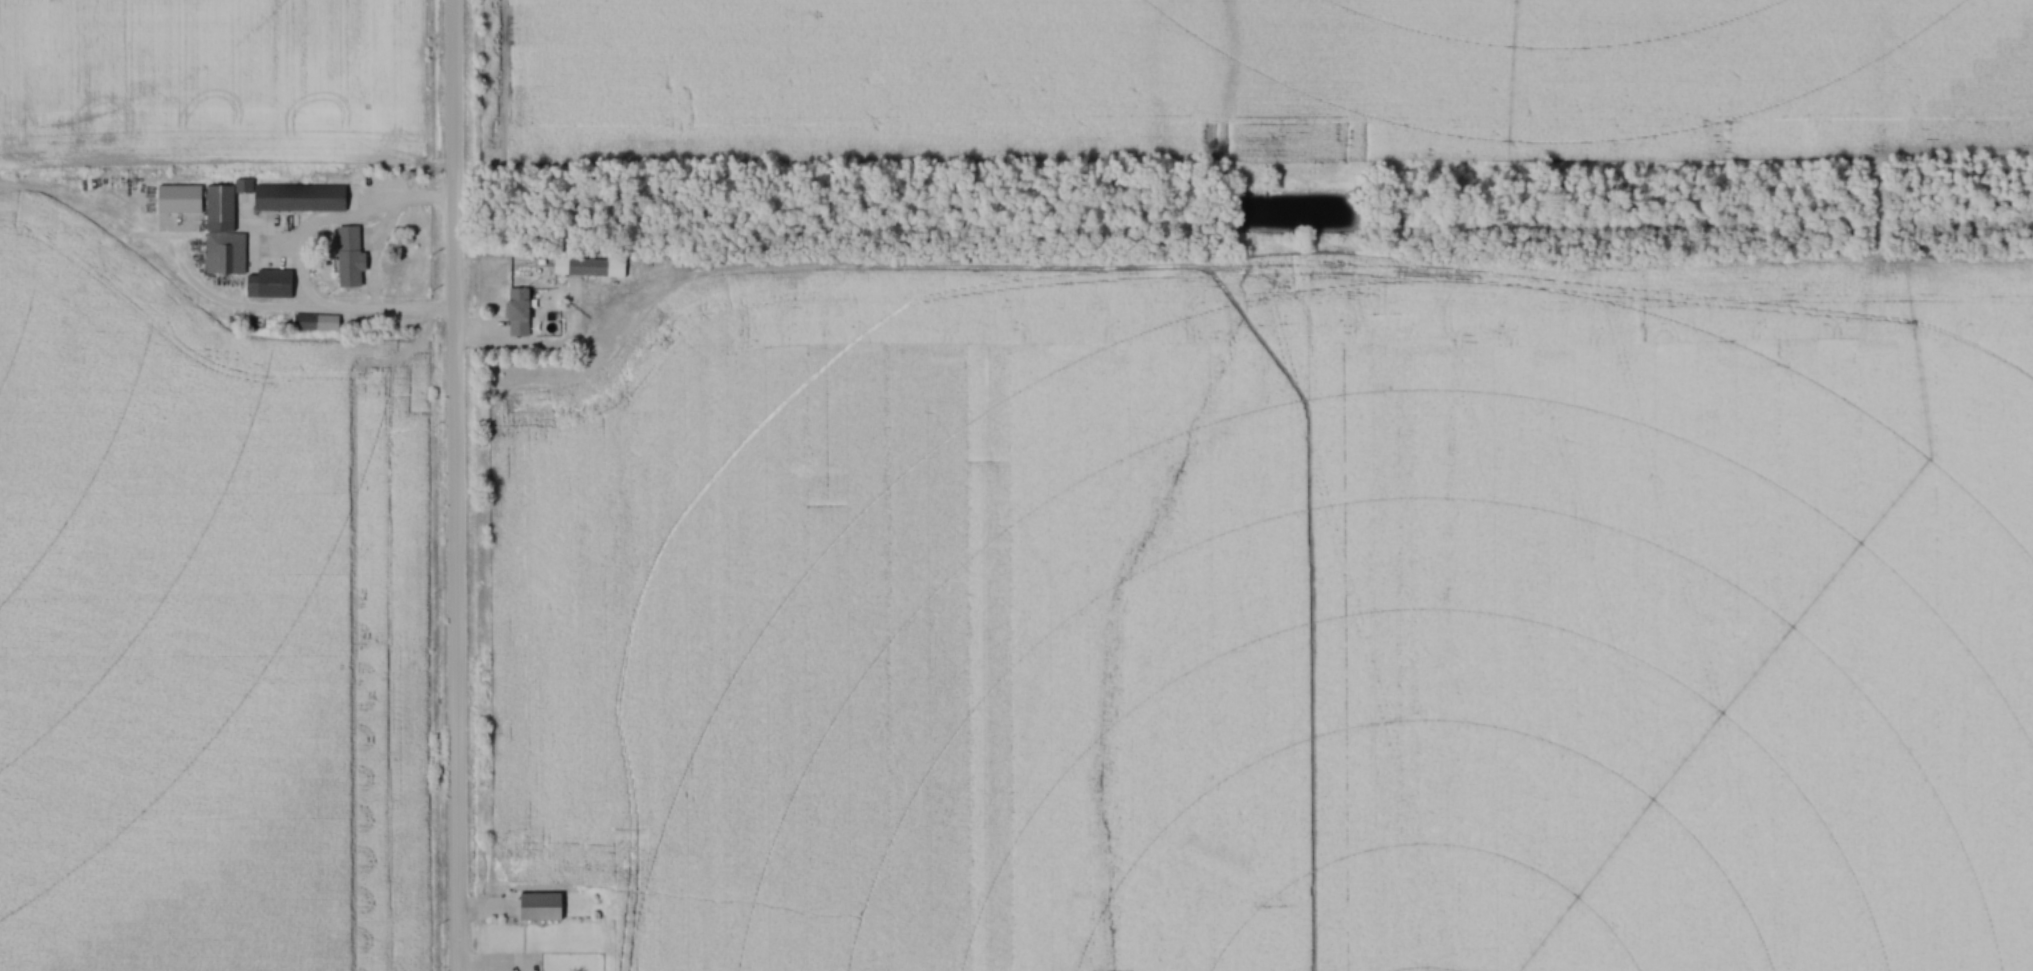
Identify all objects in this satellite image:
building: (300, 199)
road: (386, 227)
building: (224, 234)
building: (350, 258)
building: (589, 268)
building: (269, 285)
road: (290, 312)
building: (519, 312)
building: (306, 323)
road: (459, 485)
building: (541, 908)

